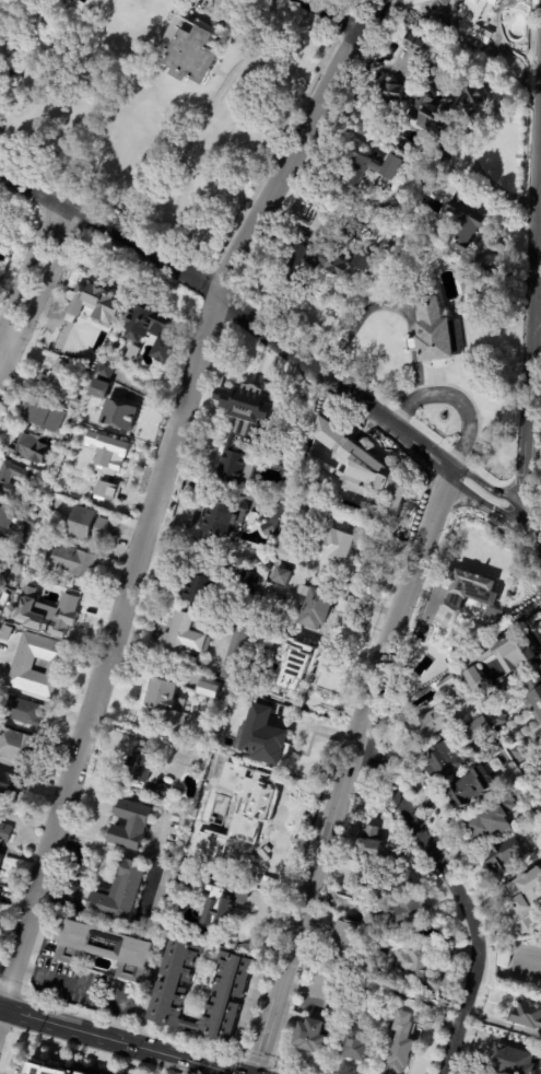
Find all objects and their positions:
building: (98, 5)
road: (331, 15)
building: (411, 15)
building: (472, 24)
building: (37, 38)
building: (412, 45)
building: (189, 51)
building: (392, 95)
building: (353, 98)
building: (444, 108)
road: (199, 122)
road: (469, 148)
building: (443, 154)
building: (367, 172)
building: (424, 177)
building: (464, 219)
building: (351, 230)
road: (481, 243)
building: (360, 261)
road: (540, 262)
building: (313, 264)
road: (28, 266)
building: (466, 285)
road: (539, 287)
road: (38, 300)
building: (99, 304)
road: (232, 308)
road: (362, 310)
building: (434, 329)
building: (153, 330)
building: (116, 345)
road: (412, 346)
building: (132, 352)
building: (109, 369)
building: (58, 376)
road: (531, 376)
building: (102, 389)
road: (419, 395)
building: (78, 404)
building: (46, 415)
road: (467, 416)
building: (120, 417)
building: (238, 427)
building: (34, 447)
building: (105, 463)
building: (363, 471)
building: (26, 478)
road: (158, 487)
road: (485, 500)
building: (36, 507)
building: (301, 507)
building: (274, 516)
building: (219, 521)
building: (4, 526)
building: (91, 526)
building: (25, 533)
building: (334, 542)
building: (39, 544)
road: (531, 545)
building: (285, 549)
building: (2, 554)
building: (19, 558)
building: (82, 564)
building: (3, 575)
building: (280, 575)
building: (248, 582)
building: (30, 585)
building: (462, 587)
building: (193, 588)
building: (3, 598)
building: (66, 607)
building: (311, 607)
building: (0, 614)
building: (185, 633)
building: (5, 643)
building: (266, 643)
building: (234, 653)
building: (513, 662)
building: (299, 663)
building: (24, 664)
building: (424, 667)
building: (451, 679)
building: (207, 689)
building: (459, 693)
building: (491, 699)
building: (534, 699)
building: (168, 702)
building: (27, 711)
building: (495, 717)
building: (426, 725)
building: (473, 729)
building: (260, 736)
building: (14, 745)
building: (491, 748)
building: (519, 752)
building: (442, 760)
building: (145, 764)
building: (221, 766)
road: (345, 770)
building: (9, 783)
building: (472, 785)
building: (254, 801)
building: (534, 809)
building: (489, 821)
building: (131, 826)
building: (7, 832)
building: (371, 844)
building: (505, 854)
building: (0, 856)
building: (173, 857)
road: (221, 871)
building: (367, 887)
road: (457, 891)
building: (1, 894)
building: (119, 894)
building: (525, 899)
building: (160, 901)
building: (216, 906)
building: (404, 913)
building: (346, 934)
building: (105, 948)
building: (334, 958)
building: (403, 964)
road: (86, 989)
building: (169, 991)
building: (399, 1002)
building: (527, 1015)
building: (308, 1037)
road: (119, 1040)
building: (540, 1042)
building: (356, 1044)
building: (401, 1046)
building: (511, 1061)
building: (42, 1070)
building: (80, 1073)

